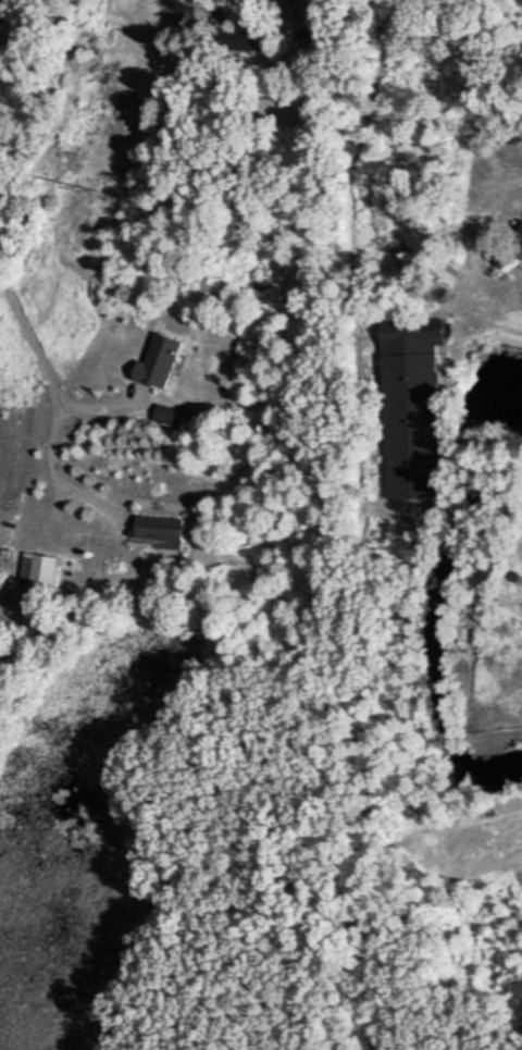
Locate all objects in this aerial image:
building: (243, 38)
power tower: (90, 174)
building: (521, 234)
building: (161, 359)
road: (48, 374)
building: (413, 406)
building: (165, 412)
building: (161, 527)
building: (40, 568)

